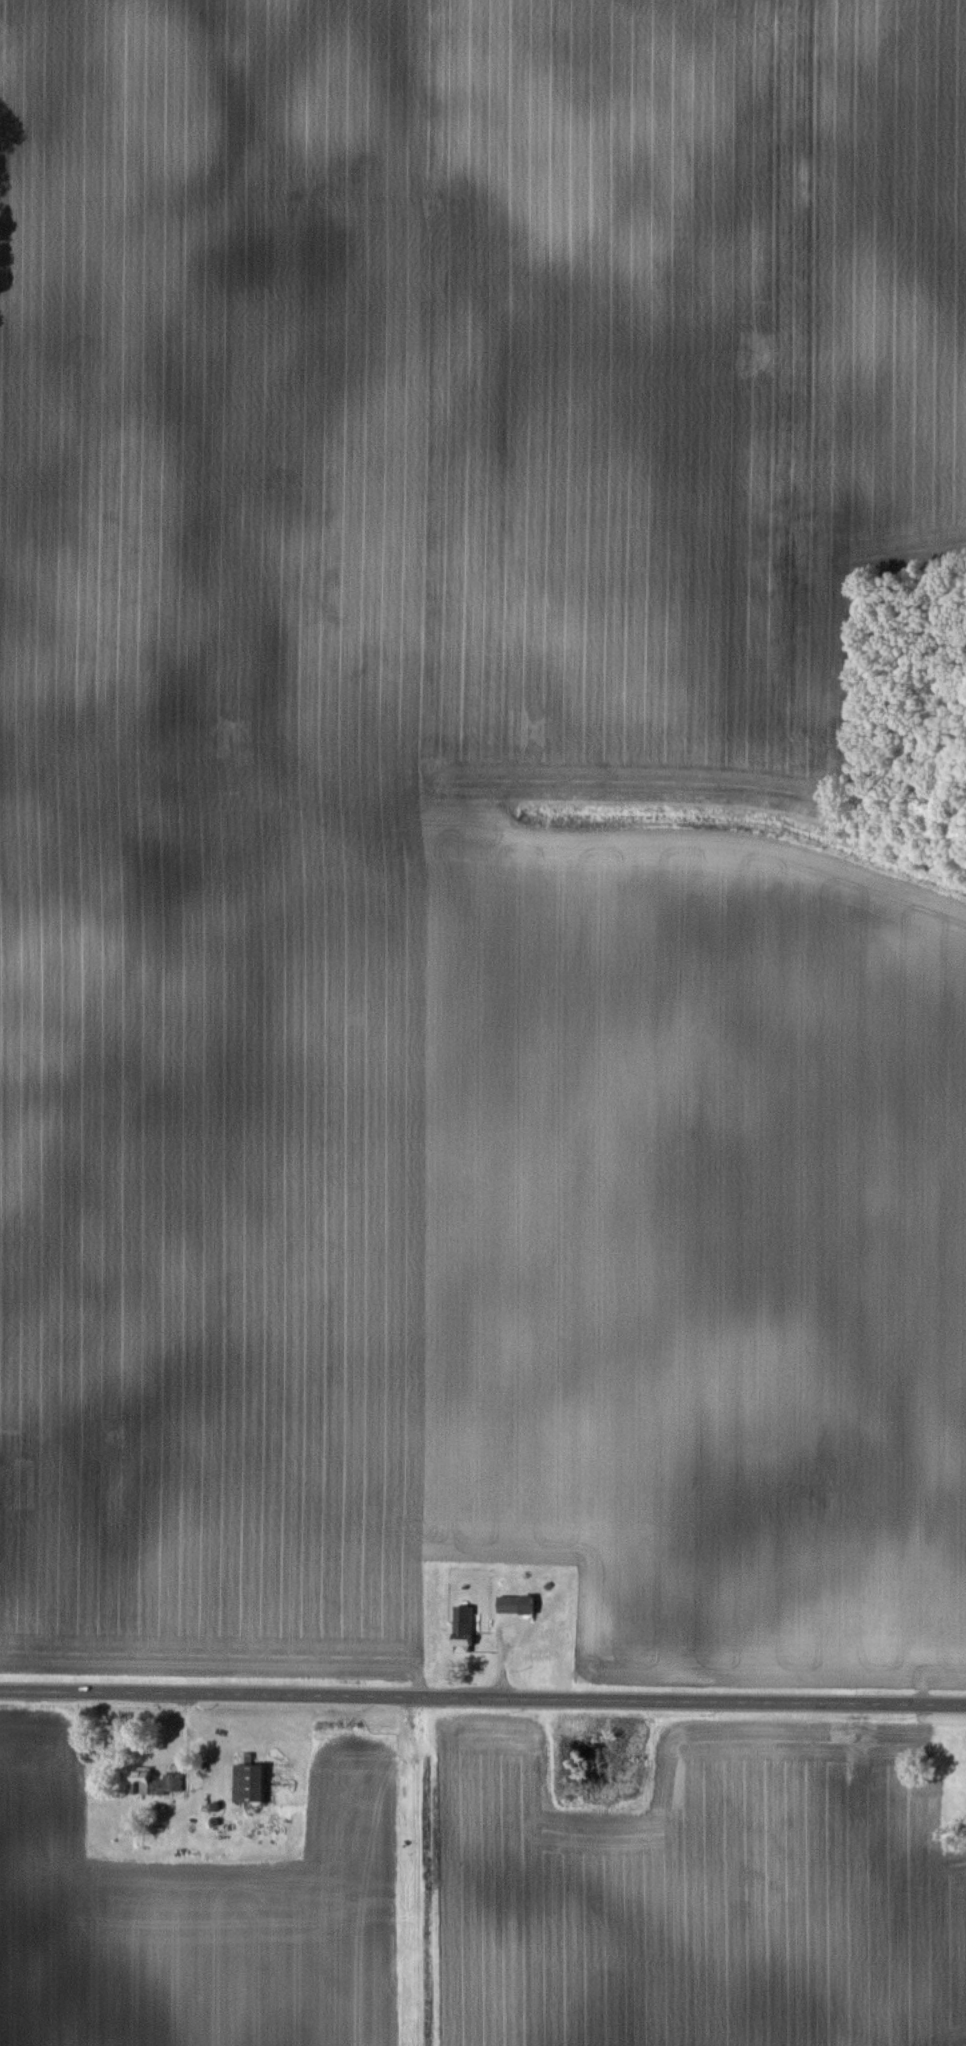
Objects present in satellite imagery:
building: (513, 1604)
building: (460, 1628)
road: (483, 1696)
building: (256, 1783)
building: (159, 1784)

